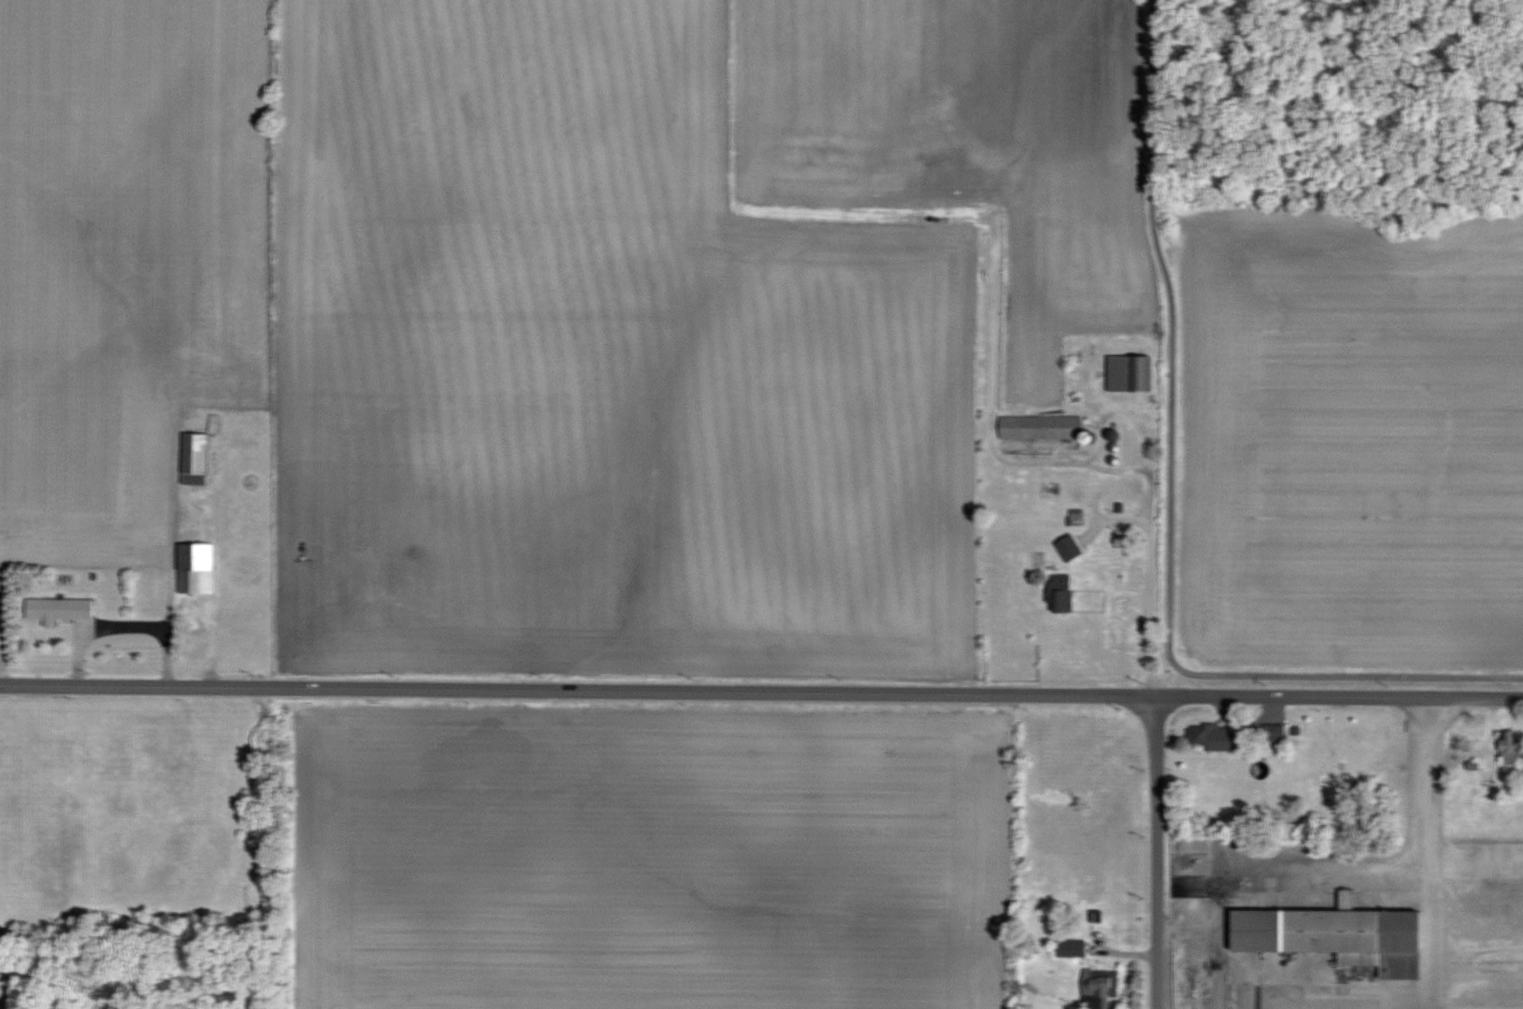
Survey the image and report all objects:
building: (1131, 373)
building: (190, 413)
building: (1041, 426)
building: (196, 458)
road: (1166, 506)
road: (1153, 551)
building: (197, 567)
building: (1062, 593)
building: (59, 609)
road: (162, 627)
road: (576, 692)
road: (1338, 696)
building: (1274, 732)
building: (1219, 736)
building: (1511, 747)
building: (1487, 776)
road: (1431, 852)
road: (1156, 853)
road: (1359, 865)
building: (1340, 935)
building: (1072, 947)
building: (1102, 989)

